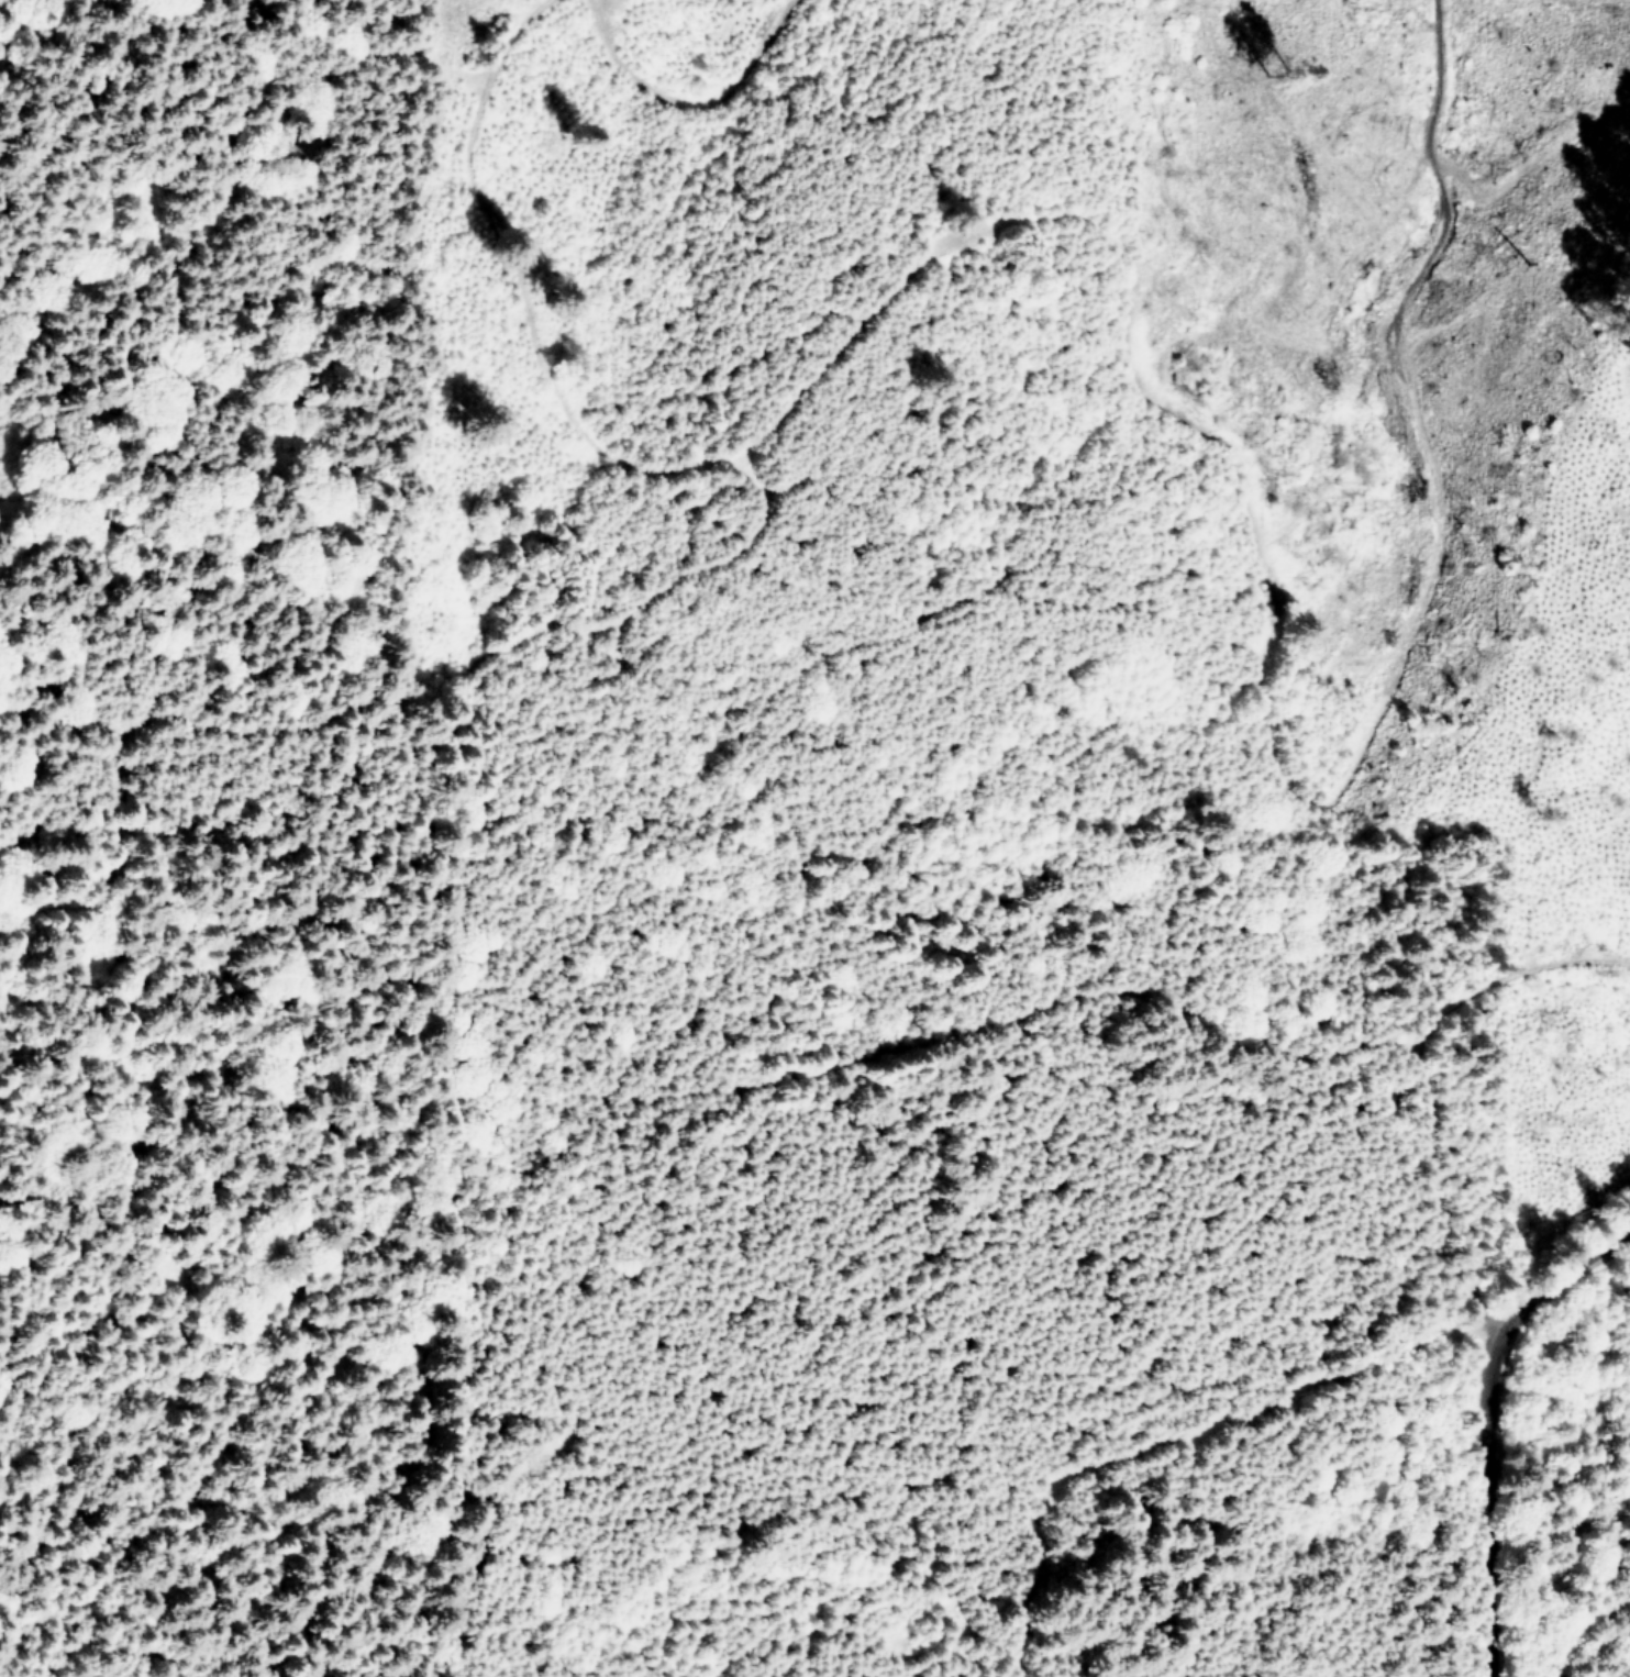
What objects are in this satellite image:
road: (1481, 1409)

